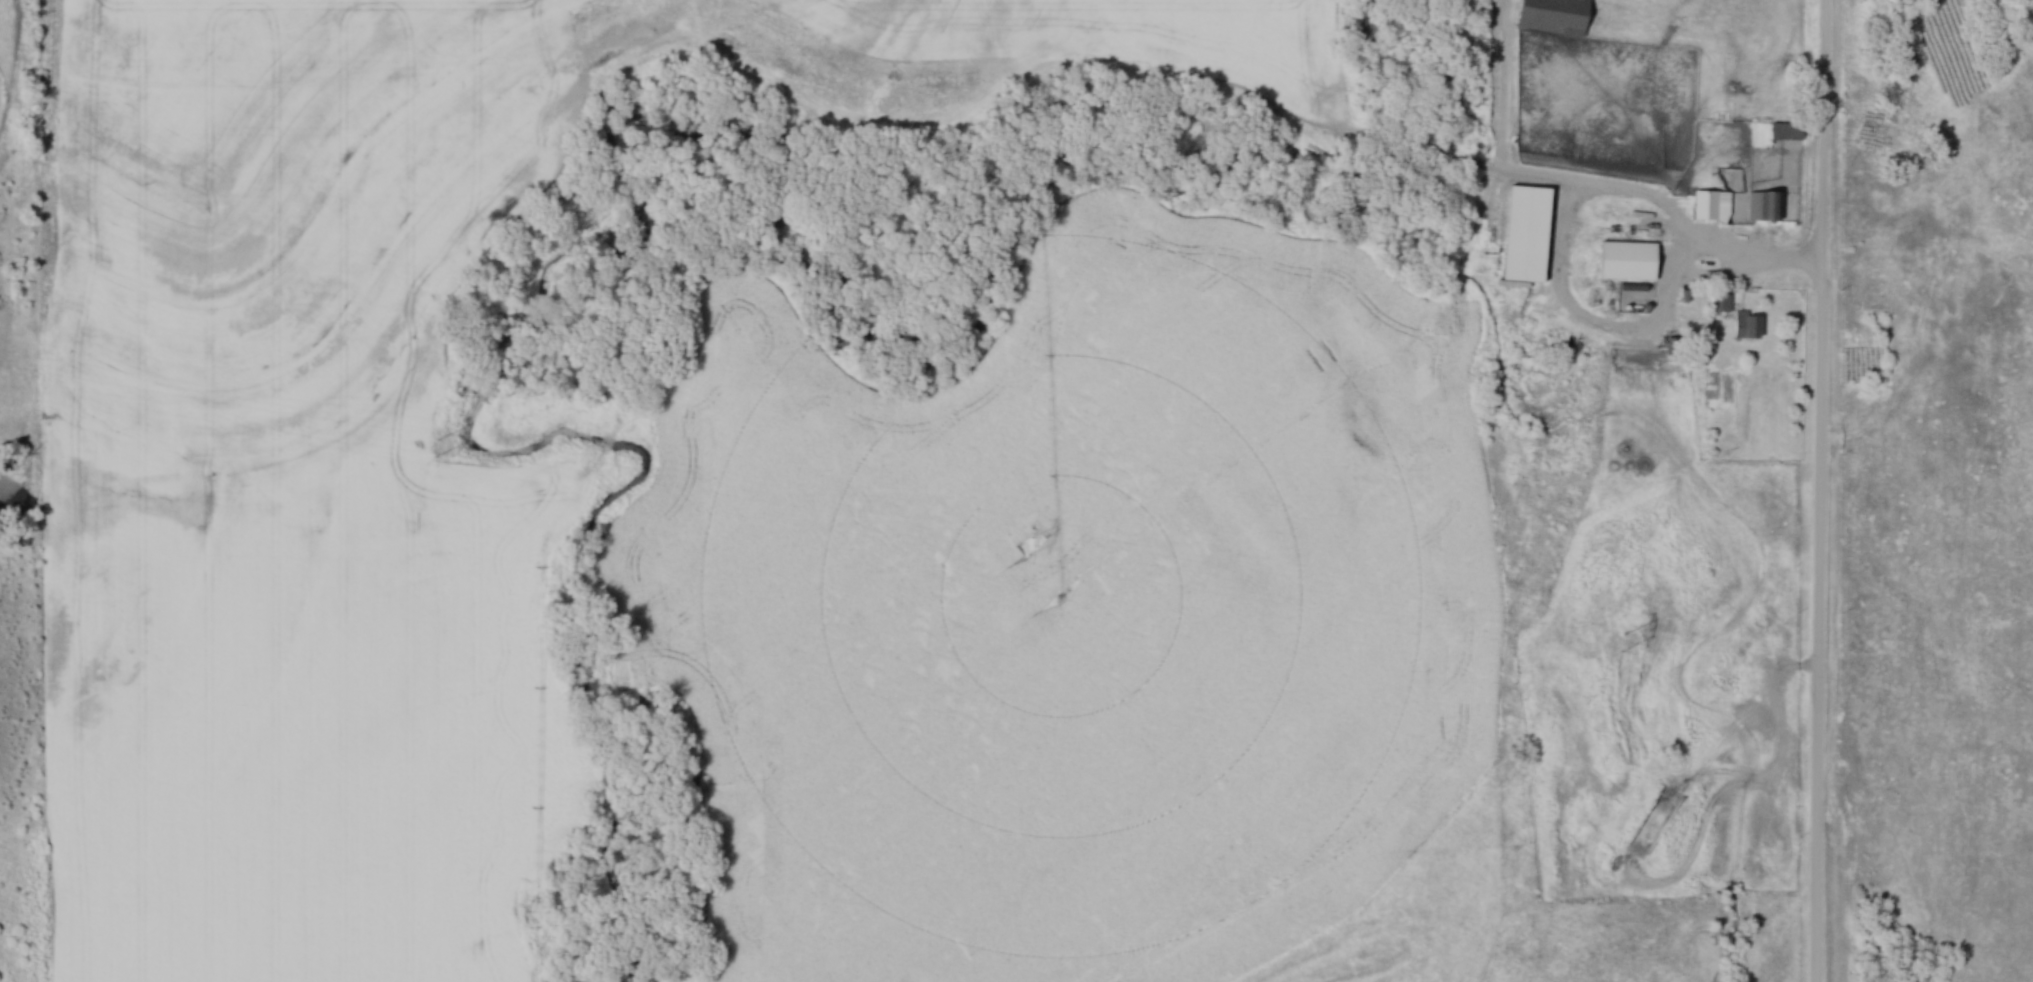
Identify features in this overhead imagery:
building: (1559, 15)
building: (1791, 130)
building: (1715, 205)
building: (1768, 205)
building: (1651, 228)
road: (1561, 236)
building: (1634, 260)
road: (1776, 260)
building: (1723, 301)
building: (1750, 324)
power tower: (437, 446)
road: (1820, 490)
power tower: (1029, 544)
power tower: (1627, 641)

